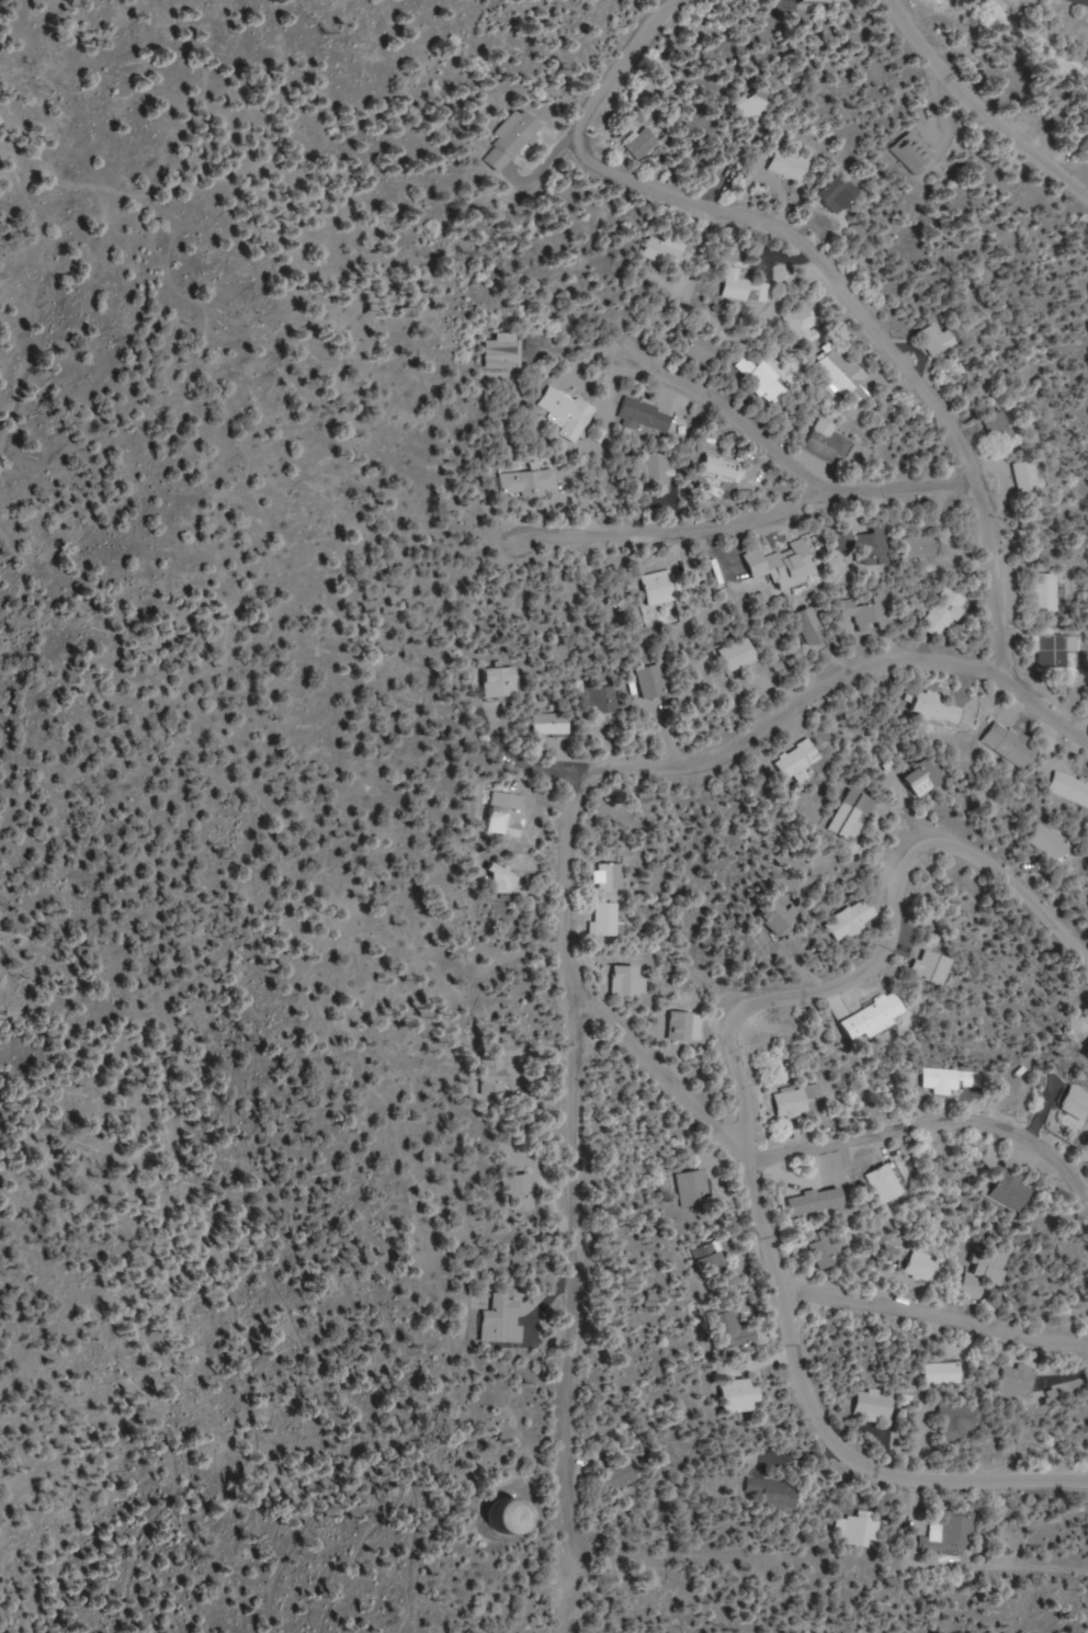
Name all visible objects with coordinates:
building: (817, 1)
road: (598, 91)
building: (757, 103)
road: (981, 110)
building: (510, 140)
building: (639, 145)
building: (1085, 151)
building: (915, 152)
building: (790, 165)
building: (839, 191)
building: (665, 250)
building: (744, 286)
building: (804, 324)
road: (881, 332)
building: (940, 338)
building: (703, 349)
building: (505, 350)
building: (840, 365)
building: (767, 381)
road: (698, 388)
building: (568, 411)
building: (647, 415)
building: (1004, 426)
building: (827, 443)
building: (722, 463)
building: (658, 468)
building: (1032, 474)
building: (531, 481)
road: (756, 523)
building: (874, 546)
building: (925, 547)
building: (784, 564)
building: (660, 586)
building: (1049, 591)
building: (871, 612)
building: (947, 612)
building: (813, 628)
building: (1056, 648)
building: (741, 654)
building: (503, 680)
building: (653, 681)
building: (603, 699)
road: (800, 704)
building: (941, 707)
road: (86, 711)
building: (554, 723)
building: (1015, 744)
building: (800, 760)
building: (928, 776)
building: (1079, 792)
road: (309, 806)
building: (855, 813)
building: (1052, 841)
building: (612, 875)
building: (505, 876)
building: (783, 916)
building: (611, 918)
building: (855, 919)
building: (937, 966)
building: (630, 980)
building: (877, 1017)
building: (684, 1025)
road: (661, 1065)
building: (495, 1075)
building: (959, 1080)
building: (796, 1100)
building: (1078, 1102)
road: (927, 1122)
road: (741, 1125)
road: (577, 1161)
building: (888, 1182)
building: (693, 1188)
building: (1017, 1189)
building: (521, 1192)
building: (818, 1201)
building: (824, 1248)
building: (925, 1267)
building: (987, 1270)
road: (936, 1318)
building: (498, 1320)
building: (734, 1327)
building: (944, 1373)
building: (1018, 1381)
building: (740, 1395)
building: (875, 1406)
building: (961, 1422)
building: (622, 1477)
building: (772, 1493)
building: (512, 1516)
building: (863, 1529)
building: (952, 1533)
road: (566, 1592)

